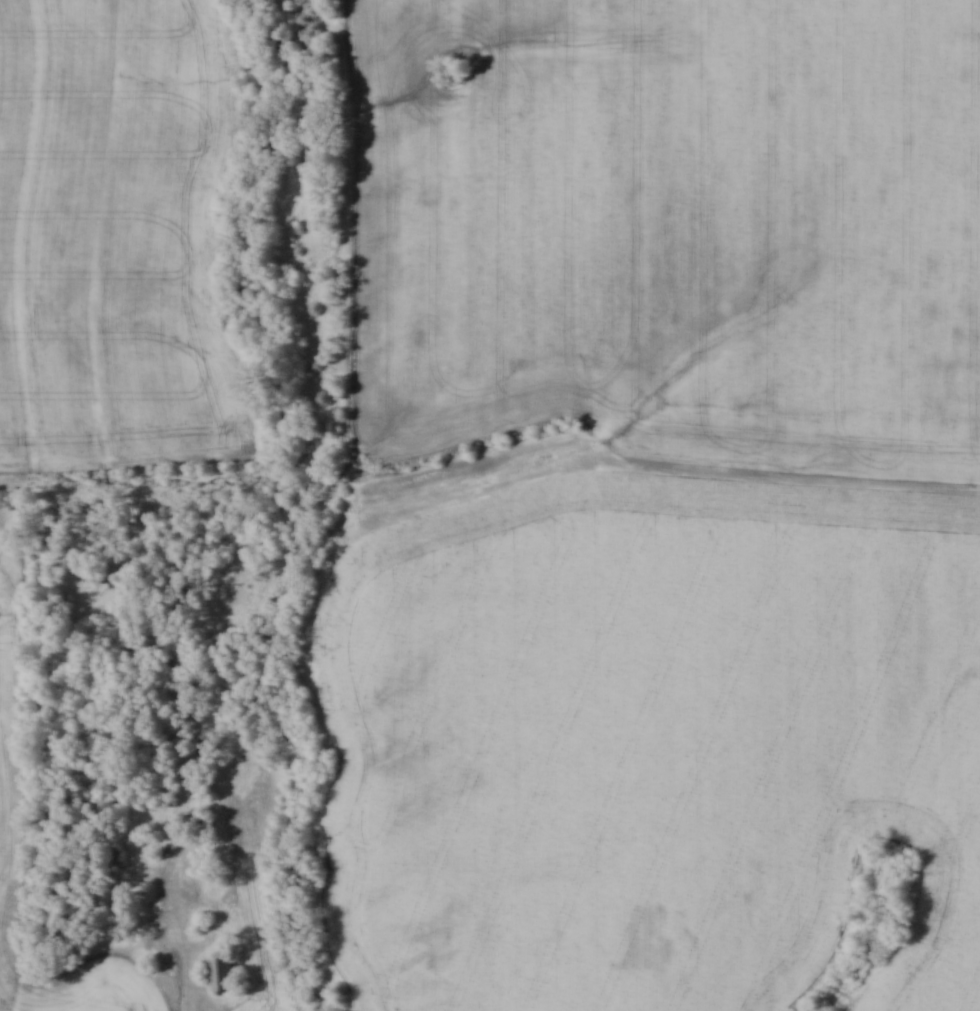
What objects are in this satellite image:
building: (221, 972)

